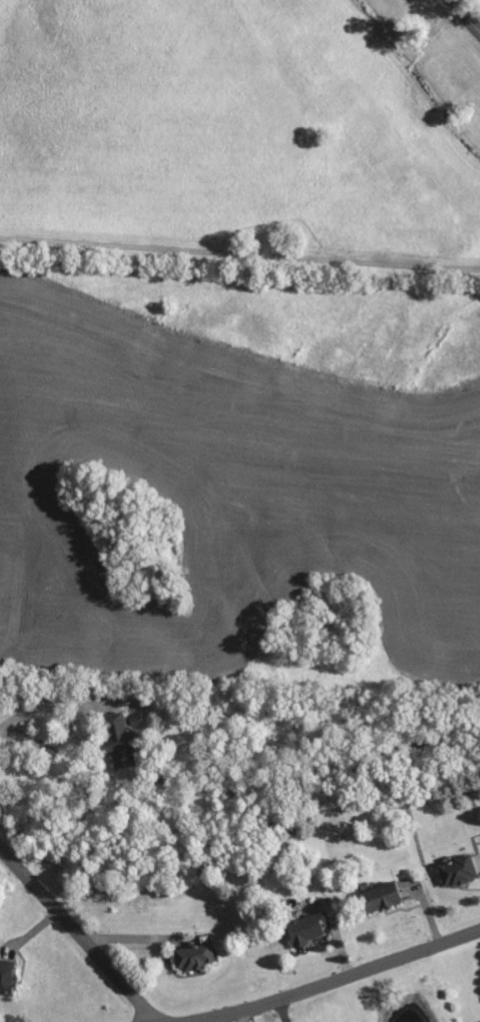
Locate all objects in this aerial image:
road: (465, 16)
road: (239, 255)
building: (118, 741)
building: (456, 873)
building: (380, 899)
building: (305, 932)
road: (77, 935)
building: (194, 959)
building: (6, 980)
road: (344, 980)
road: (281, 1012)

